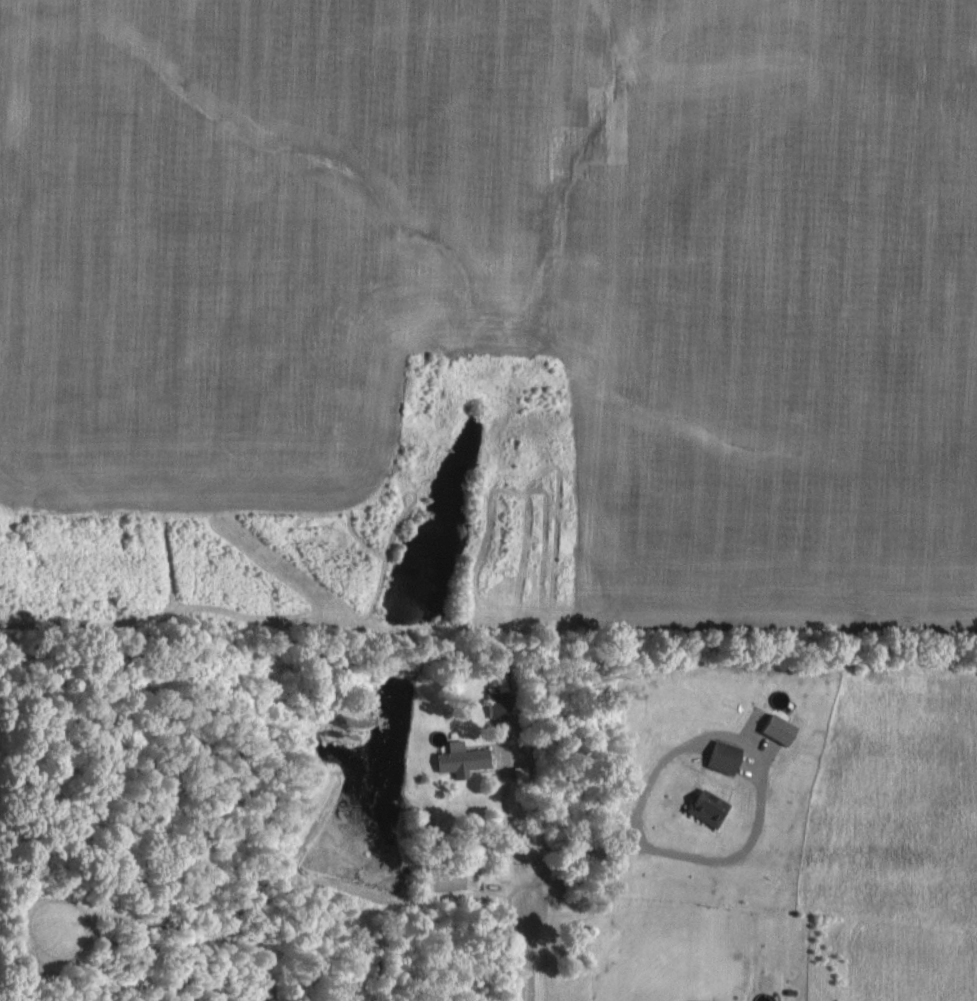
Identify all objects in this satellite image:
building: (497, 703)
building: (776, 728)
road: (709, 731)
building: (721, 756)
building: (459, 759)
building: (705, 807)
road: (506, 834)
road: (525, 955)
building: (762, 996)
building: (708, 1000)

